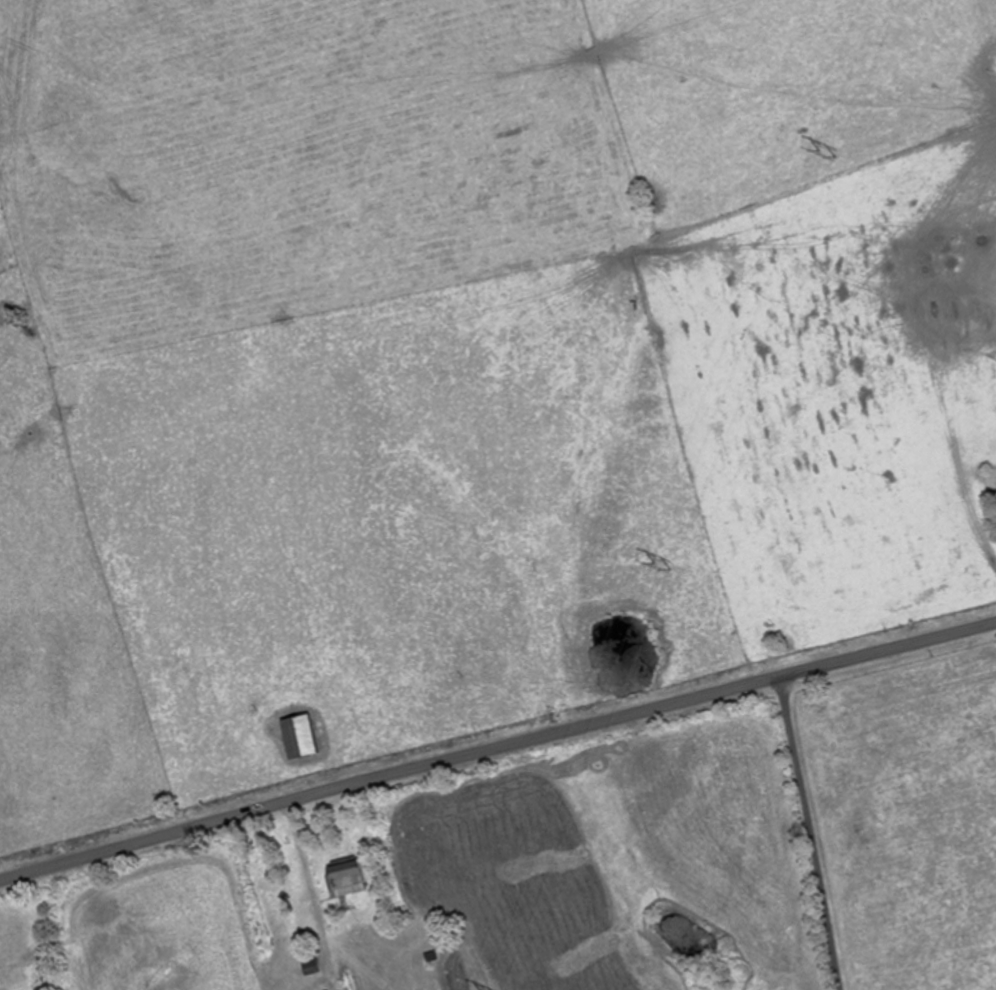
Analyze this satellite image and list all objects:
power tower: (818, 152)
power tower: (651, 563)
building: (295, 734)
road: (496, 747)
road: (809, 833)
building: (345, 877)

